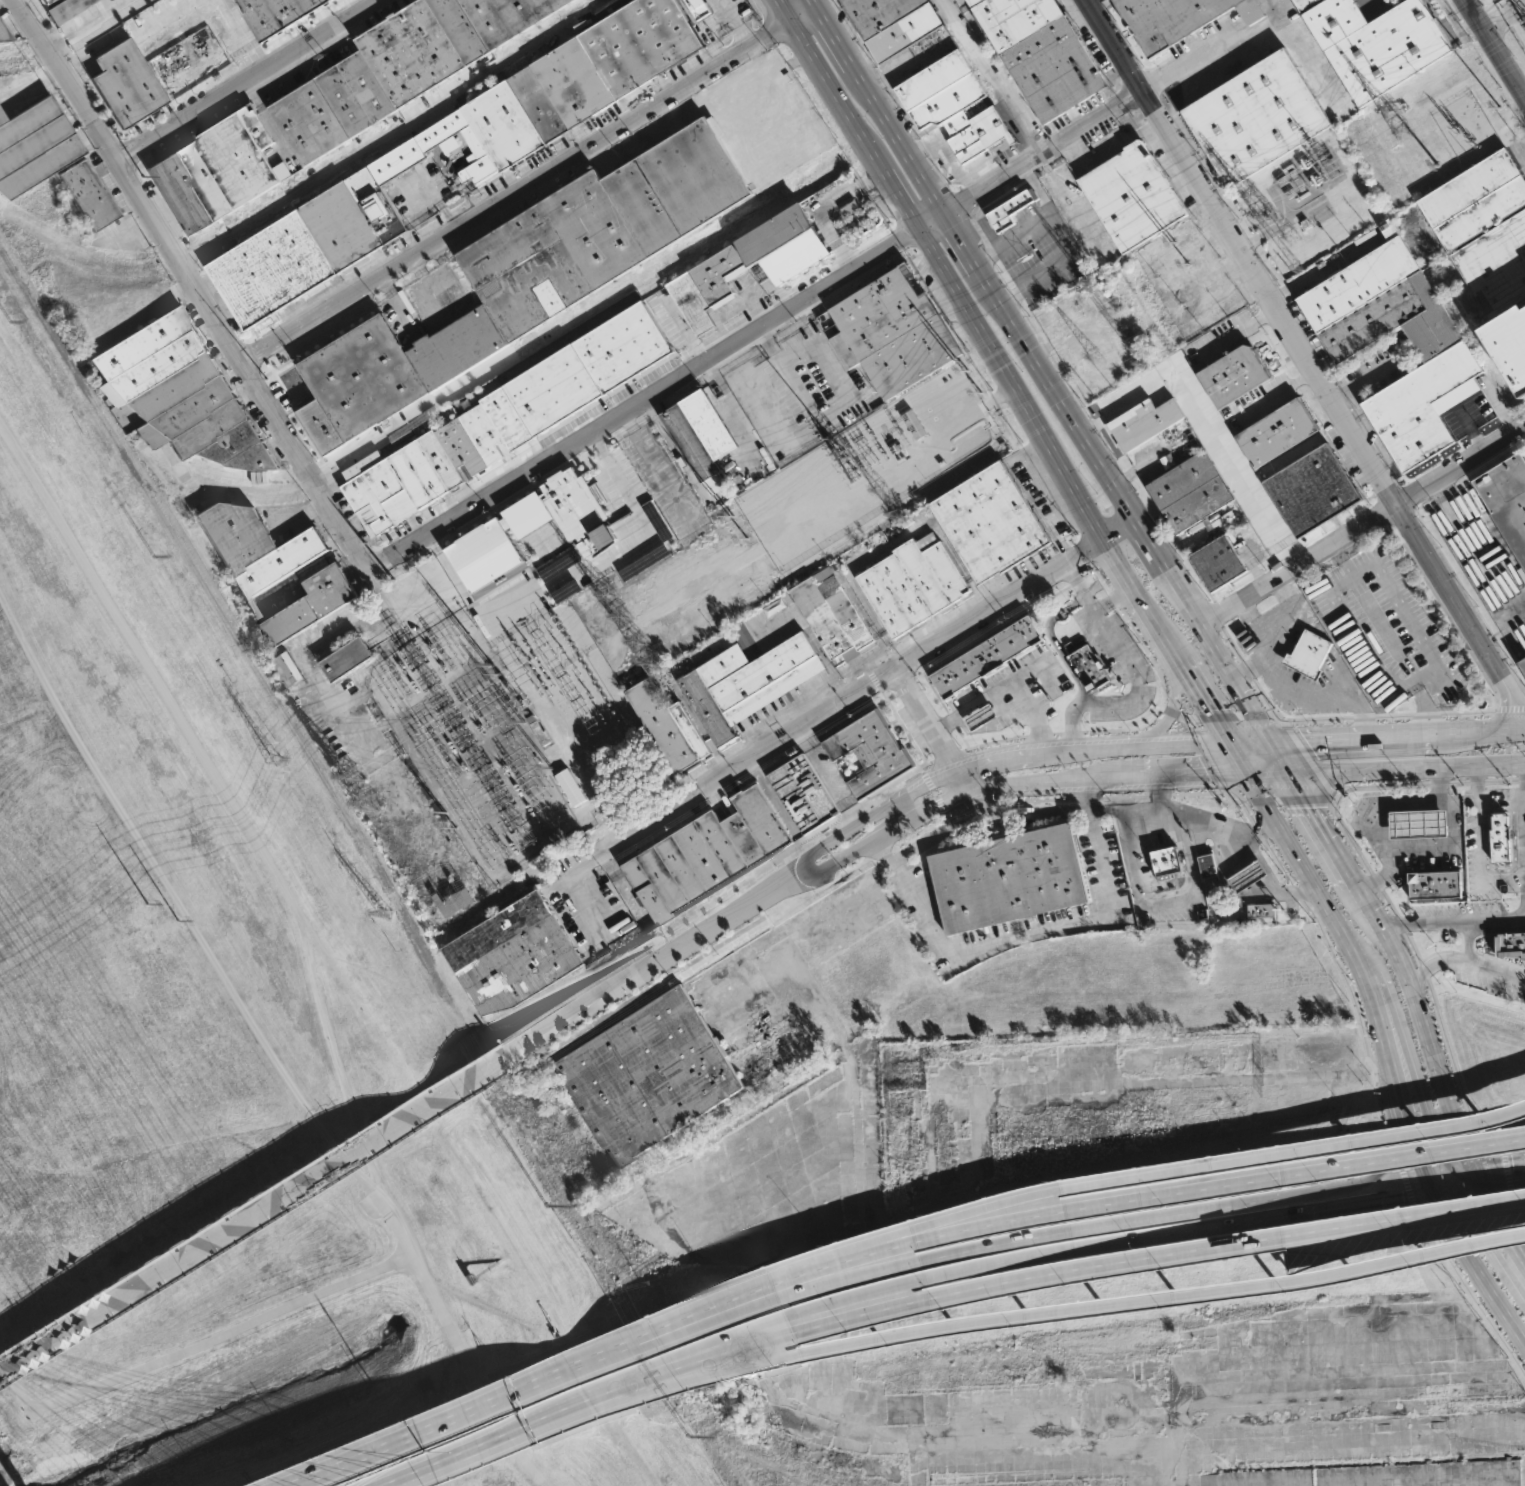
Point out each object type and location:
building: (51, 4)
road: (1278, 5)
building: (66, 9)
building: (276, 13)
road: (165, 16)
power substation: (1514, 17)
building: (1179, 19)
road: (81, 23)
building: (896, 23)
building: (5, 32)
road: (245, 35)
railway: (71, 39)
building: (445, 39)
building: (1377, 43)
road: (88, 50)
building: (1046, 52)
road: (1492, 52)
road: (818, 73)
road: (995, 77)
road: (247, 82)
building: (127, 83)
building: (561, 86)
building: (954, 104)
building: (335, 107)
power tower: (1391, 111)
building: (1256, 117)
road: (1101, 122)
road: (272, 126)
power tower: (1401, 130)
building: (34, 145)
building: (218, 170)
power substation: (1304, 180)
road: (526, 183)
railway: (316, 185)
road: (893, 189)
road: (1039, 191)
building: (90, 194)
building: (1131, 195)
building: (1475, 199)
building: (1012, 209)
road: (983, 220)
road: (1062, 233)
power tower: (1176, 241)
building: (309, 247)
power tower: (1189, 262)
building: (1496, 264)
building: (527, 278)
building: (702, 281)
road: (192, 287)
railway: (44, 320)
power tower: (10, 321)
building: (888, 332)
building: (1510, 342)
building: (1439, 343)
road: (1308, 364)
power tower: (968, 370)
road: (1042, 371)
building: (1233, 375)
road: (1361, 381)
road: (1013, 388)
power tower: (981, 392)
building: (181, 394)
railway: (462, 401)
road: (649, 401)
road: (838, 406)
road: (407, 418)
building: (508, 419)
building: (1145, 421)
building: (1277, 433)
building: (695, 436)
power substation: (869, 468)
road: (658, 474)
building: (1312, 490)
building: (1189, 492)
building: (1506, 501)
building: (574, 514)
building: (528, 515)
power tower: (734, 515)
road: (642, 519)
building: (990, 522)
road: (1361, 525)
road: (1121, 534)
power tower: (749, 537)
building: (484, 554)
power tower: (152, 555)
building: (1222, 564)
building: (276, 568)
road: (1126, 579)
building: (914, 583)
road: (1112, 598)
building: (835, 616)
road: (1166, 637)
road: (1055, 643)
building: (1309, 654)
building: (986, 657)
building: (348, 660)
building: (1522, 662)
road: (1244, 663)
road: (1435, 666)
building: (1088, 667)
building: (291, 668)
road: (148, 669)
road: (1243, 670)
road: (1135, 676)
building: (746, 683)
power tower: (501, 685)
road: (1006, 687)
road: (851, 695)
road: (1173, 697)
power tower: (517, 701)
road: (1207, 703)
road: (1425, 706)
traffic signals: (1211, 709)
road: (1509, 709)
road: (1173, 712)
road: (1230, 715)
road: (1382, 715)
building: (981, 717)
road: (1358, 719)
road: (925, 720)
power substation: (509, 724)
road: (1146, 724)
building: (667, 726)
road: (1479, 733)
road: (1351, 740)
traffic signals: (1308, 743)
road: (1252, 745)
road: (1218, 747)
building: (868, 751)
road: (1078, 752)
road: (947, 755)
road: (1206, 755)
road: (1277, 757)
road: (1241, 758)
road: (1309, 759)
power tower: (271, 761)
road: (1404, 765)
road: (1266, 769)
road: (920, 771)
road: (1231, 771)
traffic signals: (1205, 773)
road: (942, 777)
road: (1090, 780)
road: (961, 782)
road: (1433, 782)
road: (1436, 783)
road: (1276, 786)
building: (570, 787)
road: (933, 792)
building: (806, 795)
road: (1261, 796)
road: (952, 797)
road: (1290, 800)
road: (1436, 802)
road: (1500, 806)
road: (966, 807)
traffic signals: (1309, 807)
road: (1143, 809)
road: (852, 814)
road: (945, 814)
road: (984, 818)
road: (1199, 818)
building: (1417, 823)
gas station: (1417, 823)
road: (856, 824)
road: (1319, 824)
road: (1258, 831)
road: (1259, 835)
building: (1499, 837)
road: (868, 844)
road: (1477, 846)
building: (704, 855)
building: (1165, 859)
building: (1205, 863)
road: (1255, 871)
building: (1248, 876)
gas station: (1248, 876)
road: (1386, 876)
building: (1013, 877)
building: (1433, 884)
road: (1262, 885)
road: (1288, 892)
road: (556, 893)
road: (1383, 893)
building: (453, 894)
road: (1318, 897)
power tower: (148, 901)
road: (175, 901)
road: (1170, 902)
road: (1366, 903)
building: (1259, 909)
power tower: (385, 914)
road: (1453, 922)
power tower: (165, 923)
road: (1031, 934)
road: (1466, 943)
building: (1510, 944)
road: (1362, 949)
building: (516, 953)
road: (665, 958)
road: (1464, 963)
road: (1433, 1009)
road: (1375, 1018)
road: (1427, 1047)
road: (338, 1051)
road: (1414, 1074)
building: (649, 1076)
road: (1381, 1077)
road: (1394, 1086)
park: (224, 1101)
road: (1413, 1142)
road: (1392, 1150)
traffic signals: (1439, 1159)
traffic signals: (1419, 1160)
traffic signals: (1510, 1163)
road: (1497, 1164)
road: (1213, 1166)
road: (1459, 1171)
road: (1436, 1174)
road: (1504, 1176)
road: (1442, 1179)
road: (1474, 1179)
road: (1395, 1180)
road: (1404, 1181)
road: (1460, 1184)
road: (1501, 1184)
road: (1429, 1185)
road: (1466, 1190)
road: (1172, 1192)
road: (1444, 1193)
road: (1291, 1196)
traffic signals: (1402, 1200)
road: (266, 1201)
power tower: (546, 1208)
road: (1335, 1209)
traffic signals: (1494, 1215)
road: (1517, 1215)
road: (1494, 1216)
road: (1139, 1219)
road: (986, 1244)
road: (1076, 1245)
road: (862, 1246)
road: (1489, 1247)
road: (1518, 1256)
road: (1152, 1258)
road: (885, 1266)
road: (1476, 1272)
road: (759, 1289)
road: (778, 1299)
road: (1471, 1301)
road: (1099, 1305)
road: (789, 1312)
road: (649, 1332)
road: (651, 1339)
road: (457, 1341)
road: (193, 1347)
road: (726, 1349)
road: (641, 1371)
road: (642, 1376)
road: (645, 1383)
road: (592, 1394)
road: (539, 1415)
road: (433, 1416)
river: (242, 1422)
power tower: (688, 1437)
road: (436, 1456)
railway: (752, 1479)

